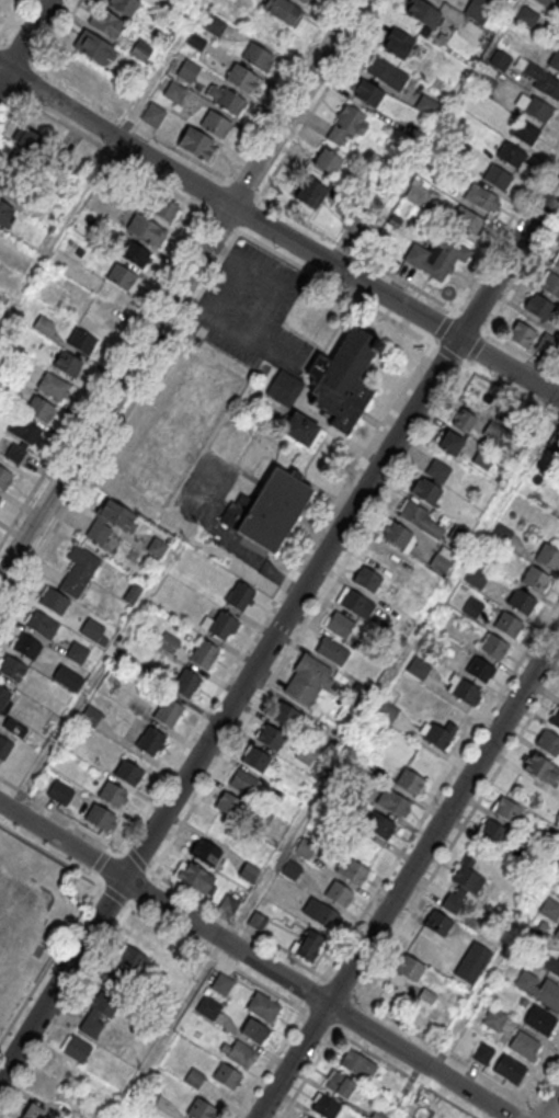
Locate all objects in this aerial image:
building: (303, 0)
building: (121, 4)
building: (282, 10)
building: (478, 10)
building: (421, 13)
road: (10, 15)
building: (527, 15)
building: (105, 22)
building: (214, 26)
road: (24, 39)
building: (195, 42)
building: (92, 45)
building: (398, 45)
road: (50, 47)
building: (140, 49)
building: (256, 57)
building: (500, 59)
building: (555, 60)
building: (76, 70)
building: (187, 71)
building: (386, 75)
building: (240, 78)
building: (539, 79)
building: (486, 83)
road: (281, 90)
building: (174, 92)
building: (366, 92)
building: (123, 95)
building: (228, 103)
building: (538, 111)
building: (152, 115)
road: (310, 115)
building: (347, 124)
building: (215, 125)
building: (525, 133)
building: (30, 140)
building: (197, 146)
building: (511, 155)
building: (327, 162)
road: (102, 164)
building: (498, 178)
building: (308, 193)
building: (482, 199)
building: (160, 207)
building: (5, 212)
building: (468, 221)
road: (506, 225)
building: (147, 230)
road: (277, 232)
building: (134, 254)
road: (356, 254)
building: (436, 258)
building: (557, 264)
road: (171, 267)
building: (121, 277)
building: (550, 285)
road: (178, 288)
building: (539, 308)
parking lot: (252, 310)
road: (471, 321)
building: (522, 335)
building: (81, 342)
building: (544, 344)
building: (68, 365)
building: (343, 381)
building: (54, 387)
building: (284, 388)
building: (39, 410)
building: (464, 420)
building: (300, 429)
building: (24, 431)
building: (493, 432)
building: (449, 444)
building: (484, 459)
building: (438, 471)
building: (4, 479)
park: (203, 486)
building: (427, 493)
building: (273, 512)
building: (413, 515)
building: (110, 523)
building: (501, 534)
building: (397, 536)
building: (457, 536)
road: (229, 544)
building: (157, 548)
building: (548, 558)
building: (440, 563)
building: (79, 572)
road: (336, 572)
building: (476, 579)
building: (367, 580)
building: (536, 581)
building: (132, 593)
building: (239, 596)
building: (54, 602)
building: (522, 603)
building: (356, 605)
building: (472, 607)
building: (339, 625)
building: (42, 626)
building: (219, 626)
road: (278, 626)
building: (509, 626)
building: (94, 632)
building: (168, 643)
building: (26, 647)
building: (493, 648)
building: (332, 652)
building: (77, 653)
building: (204, 655)
road: (239, 655)
building: (418, 668)
building: (12, 670)
building: (480, 671)
building: (67, 678)
building: (156, 678)
building: (307, 682)
building: (186, 685)
building: (466, 693)
building: (356, 697)
building: (3, 701)
building: (137, 709)
building: (387, 712)
building: (168, 714)
building: (284, 714)
building: (90, 716)
building: (556, 720)
building: (270, 737)
building: (437, 738)
building: (150, 742)
building: (548, 743)
building: (4, 746)
building: (304, 753)
building: (255, 758)
building: (541, 769)
building: (128, 774)
building: (242, 782)
building: (409, 783)
building: (59, 794)
building: (113, 796)
building: (392, 803)
road: (431, 803)
building: (228, 805)
building: (506, 810)
building: (100, 819)
building: (377, 825)
road: (457, 833)
building: (492, 833)
building: (304, 849)
building: (205, 852)
road: (66, 864)
building: (290, 870)
building: (352, 871)
road: (408, 874)
building: (194, 877)
building: (461, 885)
building: (558, 885)
building: (338, 894)
building: (228, 904)
building: (550, 909)
park: (19, 910)
building: (320, 915)
park: (31, 917)
building: (256, 921)
building: (436, 922)
road: (237, 924)
building: (557, 934)
building: (308, 944)
road: (256, 959)
building: (129, 960)
road: (48, 962)
building: (471, 963)
building: (549, 963)
building: (410, 969)
building: (221, 985)
building: (539, 990)
road: (312, 993)
building: (208, 1008)
building: (263, 1008)
road: (344, 1013)
building: (98, 1014)
building: (494, 1019)
building: (540, 1023)
building: (254, 1033)
building: (76, 1047)
road: (278, 1047)
road: (362, 1047)
building: (524, 1047)
road: (443, 1049)
building: (483, 1054)
building: (241, 1056)
building: (357, 1064)
building: (61, 1070)
building: (510, 1071)
building: (226, 1077)
road: (538, 1085)
building: (340, 1086)
road: (549, 1103)
building: (326, 1108)
building: (201, 1109)
road: (541, 1109)
building: (32, 1111)
building: (308, 1117)

